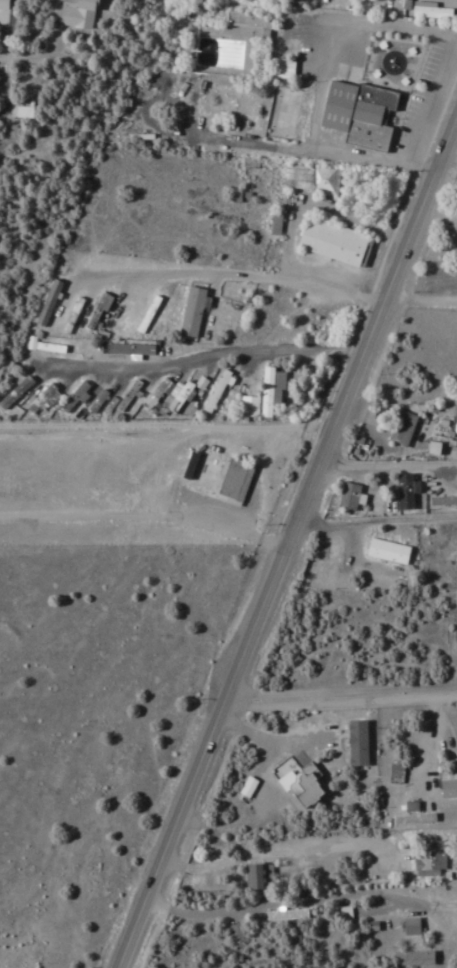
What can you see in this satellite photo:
building: (282, 0)
building: (3, 5)
building: (74, 14)
building: (248, 27)
building: (277, 68)
building: (281, 79)
road: (315, 83)
parking lot: (424, 98)
building: (225, 101)
building: (354, 113)
road: (298, 160)
building: (307, 179)
building: (330, 242)
road: (231, 274)
road: (421, 301)
building: (46, 303)
building: (94, 310)
building: (188, 311)
building: (69, 315)
building: (144, 315)
building: (119, 318)
building: (48, 346)
building: (128, 349)
road: (196, 360)
building: (213, 390)
building: (13, 393)
building: (262, 395)
building: (165, 396)
building: (72, 397)
building: (38, 398)
building: (98, 402)
building: (399, 428)
road: (386, 463)
building: (187, 466)
building: (218, 475)
building: (402, 492)
building: (346, 496)
building: (451, 500)
road: (373, 519)
road: (284, 541)
building: (384, 551)
building: (327, 574)
road: (341, 686)
road: (338, 702)
building: (323, 742)
building: (357, 744)
building: (392, 772)
building: (446, 783)
building: (302, 788)
building: (410, 818)
road: (305, 844)
building: (427, 854)
building: (249, 875)
road: (298, 905)
building: (284, 915)
building: (407, 926)
building: (410, 957)
road: (287, 962)

